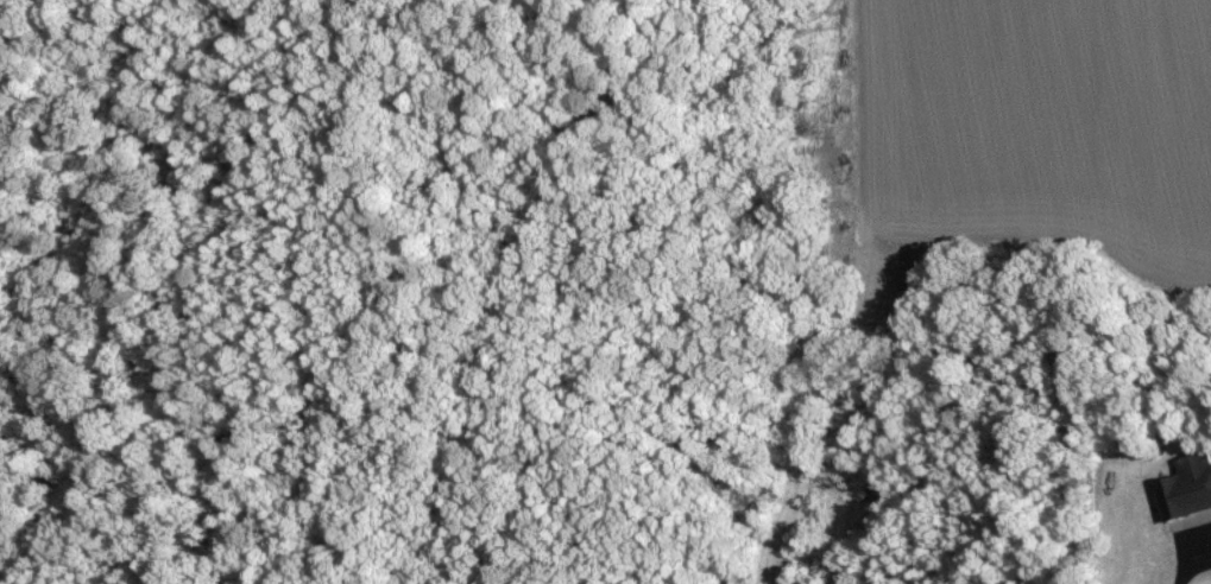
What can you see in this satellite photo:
building: (1190, 487)
road: (1182, 560)

